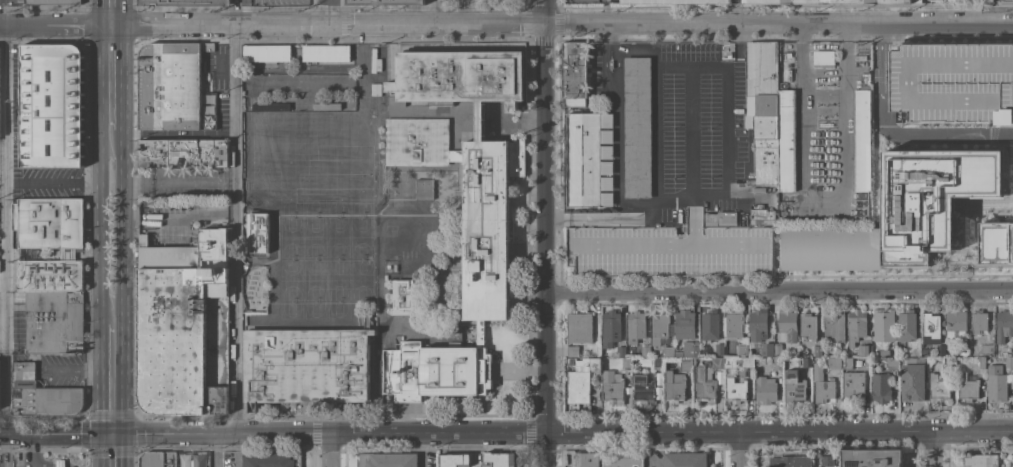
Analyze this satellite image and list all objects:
building: (962, 0)
building: (680, 1)
building: (783, 1)
building: (849, 1)
building: (890, 1)
building: (916, 1)
building: (53, 2)
building: (184, 2)
building: (384, 2)
road: (1, 12)
road: (111, 12)
road: (233, 12)
road: (323, 12)
road: (435, 12)
road: (216, 24)
road: (667, 24)
road: (55, 25)
building: (267, 53)
building: (326, 53)
building: (824, 58)
building: (575, 73)
road: (111, 78)
building: (953, 82)
parking garage: (953, 82)
building: (170, 85)
building: (52, 105)
building: (765, 108)
parking lot: (673, 121)
building: (636, 126)
road: (727, 127)
road: (689, 129)
road: (897, 132)
building: (150, 134)
building: (862, 138)
building: (416, 141)
building: (786, 141)
building: (184, 153)
road: (657, 153)
building: (584, 159)
building: (476, 162)
parking lot: (38, 172)
road: (58, 182)
building: (424, 188)
road: (823, 194)
building: (901, 213)
road: (173, 218)
building: (720, 218)
building: (769, 221)
building: (49, 222)
building: (196, 223)
road: (112, 226)
road: (234, 228)
building: (258, 232)
road: (546, 233)
building: (996, 242)
road: (5, 245)
building: (669, 253)
parking lot: (669, 253)
building: (49, 275)
road: (780, 293)
building: (404, 296)
building: (956, 319)
building: (54, 321)
building: (979, 321)
building: (684, 323)
building: (1005, 323)
building: (710, 324)
building: (184, 325)
building: (788, 325)
building: (809, 325)
building: (834, 325)
building: (856, 325)
building: (884, 325)
building: (906, 325)
building: (635, 326)
building: (659, 326)
building: (931, 326)
building: (579, 327)
building: (611, 327)
building: (736, 328)
building: (759, 331)
building: (718, 348)
building: (988, 348)
building: (688, 349)
building: (777, 349)
building: (941, 349)
building: (572, 350)
building: (645, 350)
building: (865, 350)
building: (964, 350)
building: (668, 351)
building: (618, 352)
building: (884, 352)
building: (925, 352)
building: (806, 361)
building: (892, 361)
building: (1009, 361)
building: (585, 362)
building: (627, 362)
building: (657, 362)
building: (717, 362)
building: (834, 362)
building: (847, 362)
building: (982, 362)
building: (686, 363)
building: (747, 363)
building: (778, 363)
building: (950, 363)
building: (307, 365)
building: (434, 370)
road: (113, 377)
building: (912, 381)
building: (996, 383)
building: (822, 384)
building: (705, 385)
building: (578, 386)
building: (613, 386)
building: (675, 386)
building: (794, 386)
building: (854, 386)
building: (968, 386)
building: (647, 387)
building: (735, 387)
building: (881, 387)
building: (939, 388)
building: (766, 389)
building: (42, 394)
road: (563, 433)
road: (3, 434)
road: (60, 434)
traffic signals: (114, 434)
road: (113, 450)
road: (215, 450)
road: (334, 450)
road: (743, 450)
road: (938, 450)
building: (871, 457)
building: (158, 459)
building: (192, 459)
building: (499, 459)
building: (587, 459)
building: (622, 459)
building: (685, 459)
building: (272, 460)
building: (388, 460)
building: (454, 460)
building: (981, 460)
building: (791, 461)
building: (827, 461)
building: (60, 463)

